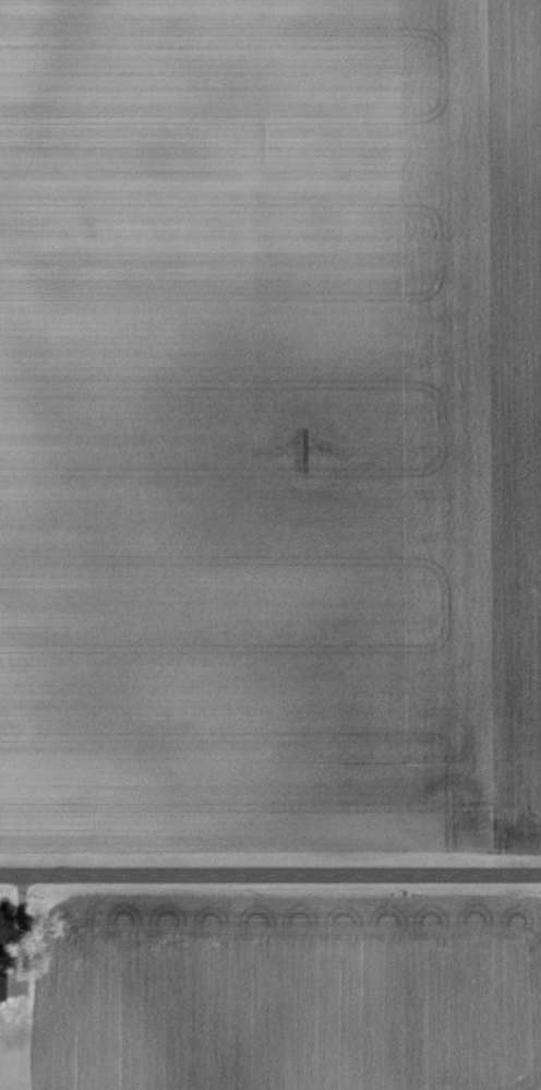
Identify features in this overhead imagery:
road: (270, 866)
building: (0, 928)

